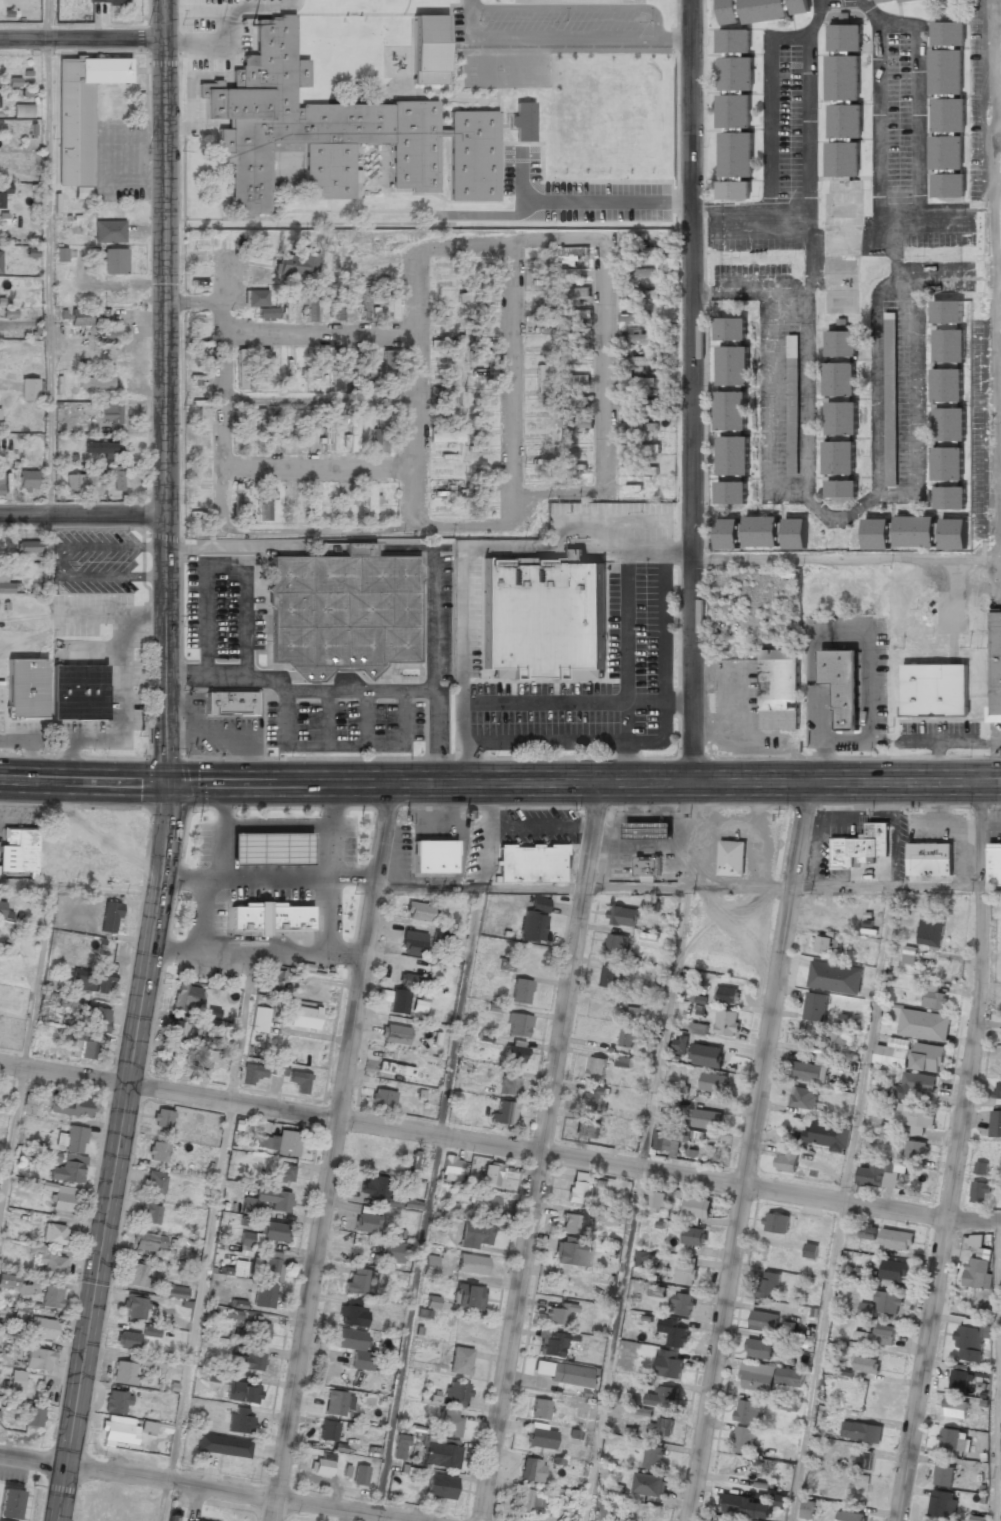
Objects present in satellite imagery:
building: (890, 1)
building: (107, 2)
building: (798, 7)
building: (751, 11)
road: (46, 20)
road: (81, 40)
building: (734, 41)
building: (428, 50)
building: (735, 73)
building: (843, 100)
building: (23, 110)
building: (947, 110)
building: (734, 111)
building: (80, 112)
building: (335, 132)
building: (735, 154)
building: (554, 169)
building: (734, 189)
building: (0, 200)
building: (109, 231)
building: (569, 253)
building: (61, 254)
building: (0, 261)
building: (115, 261)
building: (297, 264)
building: (637, 273)
road: (48, 278)
building: (580, 295)
building: (638, 295)
building: (476, 297)
building: (286, 302)
building: (260, 304)
building: (364, 305)
building: (310, 306)
building: (390, 307)
building: (336, 309)
building: (946, 313)
building: (574, 314)
building: (637, 317)
building: (80, 318)
building: (730, 328)
building: (537, 331)
building: (110, 332)
building: (636, 338)
building: (572, 340)
building: (840, 344)
building: (949, 346)
building: (485, 355)
building: (565, 359)
building: (641, 361)
building: (337, 363)
building: (264, 364)
building: (733, 365)
building: (241, 369)
building: (366, 370)
building: (387, 370)
building: (313, 377)
building: (839, 379)
building: (446, 380)
building: (574, 380)
building: (94, 382)
building: (636, 383)
building: (539, 384)
building: (335, 385)
building: (947, 385)
building: (28, 390)
road: (163, 391)
road: (691, 391)
building: (477, 393)
building: (447, 398)
building: (890, 399)
building: (571, 402)
building: (636, 403)
building: (477, 411)
building: (731, 411)
building: (110, 413)
building: (792, 417)
building: (540, 418)
building: (841, 418)
building: (950, 424)
building: (574, 425)
building: (639, 427)
building: (250, 432)
building: (380, 433)
building: (274, 434)
building: (444, 435)
building: (300, 436)
building: (326, 438)
building: (348, 441)
building: (101, 448)
building: (639, 448)
building: (483, 450)
building: (733, 456)
building: (839, 458)
building: (947, 463)
building: (569, 468)
building: (638, 470)
building: (27, 479)
building: (115, 479)
building: (76, 484)
building: (474, 484)
building: (1, 485)
building: (841, 489)
building: (636, 491)
building: (731, 493)
building: (239, 497)
building: (949, 497)
building: (289, 501)
building: (370, 502)
building: (265, 503)
building: (316, 503)
building: (341, 504)
building: (445, 514)
road: (82, 516)
building: (760, 532)
building: (914, 532)
building: (726, 534)
building: (795, 534)
building: (876, 534)
building: (952, 534)
building: (27, 547)
building: (6, 583)
building: (344, 612)
building: (543, 618)
building: (995, 667)
building: (841, 686)
building: (24, 690)
building: (778, 690)
building: (935, 691)
building: (76, 693)
building: (230, 703)
traffic signals: (165, 783)
road: (500, 784)
building: (648, 830)
building: (860, 846)
building: (270, 849)
gas station: (270, 849)
building: (18, 851)
building: (433, 856)
building: (732, 858)
building: (929, 859)
building: (531, 863)
building: (994, 864)
building: (647, 866)
road: (78, 884)
road: (677, 888)
building: (651, 904)
building: (418, 911)
building: (4, 912)
building: (110, 916)
building: (623, 916)
building: (269, 917)
building: (534, 920)
building: (931, 931)
building: (444, 932)
building: (616, 942)
building: (413, 943)
building: (823, 944)
road: (256, 953)
building: (909, 954)
building: (505, 964)
road: (39, 975)
building: (610, 976)
building: (270, 977)
building: (835, 977)
building: (90, 980)
building: (411, 981)
building: (520, 991)
building: (727, 994)
building: (933, 995)
building: (185, 997)
building: (394, 1000)
building: (73, 1002)
building: (419, 1005)
building: (816, 1006)
building: (637, 1011)
building: (304, 1017)
building: (97, 1018)
building: (259, 1019)
building: (727, 1022)
building: (518, 1024)
building: (924, 1024)
building: (217, 1027)
building: (698, 1028)
building: (842, 1029)
building: (177, 1030)
building: (394, 1034)
building: (627, 1036)
building: (81, 1045)
building: (680, 1045)
building: (515, 1051)
building: (893, 1052)
building: (706, 1055)
building: (928, 1057)
building: (203, 1058)
building: (174, 1064)
building: (395, 1068)
building: (596, 1068)
building: (810, 1069)
building: (261, 1071)
building: (299, 1081)
building: (713, 1082)
building: (919, 1082)
building: (509, 1086)
building: (997, 1091)
building: (803, 1097)
building: (593, 1098)
building: (383, 1099)
building: (72, 1107)
building: (503, 1113)
building: (915, 1117)
building: (162, 1118)
building: (706, 1119)
building: (996, 1123)
building: (587, 1128)
building: (829, 1135)
road: (11, 1137)
building: (72, 1139)
building: (280, 1142)
building: (667, 1142)
road: (499, 1146)
building: (916, 1149)
road: (747, 1150)
building: (157, 1151)
road: (538, 1151)
road: (331, 1152)
road: (954, 1152)
road: (120, 1153)
building: (52, 1157)
building: (786, 1159)
building: (416, 1160)
building: (981, 1167)
building: (69, 1169)
building: (450, 1169)
building: (284, 1172)
building: (491, 1174)
building: (878, 1174)
building: (155, 1182)
building: (581, 1187)
building: (979, 1191)
building: (656, 1199)
building: (266, 1201)
building: (62, 1202)
road: (635, 1203)
road: (427, 1204)
building: (485, 1204)
road: (843, 1205)
building: (697, 1207)
building: (150, 1212)
building: (613, 1219)
building: (365, 1221)
building: (777, 1222)
building: (577, 1224)
building: (868, 1231)
building: (55, 1234)
building: (264, 1234)
building: (474, 1235)
road: (207, 1236)
building: (694, 1236)
building: (896, 1239)
building: (149, 1241)
building: (810, 1250)
building: (393, 1252)
building: (572, 1252)
building: (645, 1258)
building: (48, 1260)
building: (471, 1264)
building: (430, 1265)
building: (237, 1268)
building: (272, 1269)
building: (686, 1270)
building: (894, 1270)
building: (977, 1273)
building: (136, 1275)
building: (360, 1281)
building: (8, 1282)
building: (768, 1284)
building: (172, 1291)
building: (657, 1291)
building: (264, 1295)
building: (52, 1296)
building: (468, 1296)
building: (432, 1301)
building: (888, 1302)
building: (683, 1303)
building: (135, 1306)
building: (865, 1309)
building: (352, 1313)
building: (560, 1313)
building: (763, 1320)
building: (42, 1328)
building: (150, 1331)
building: (675, 1333)
building: (884, 1334)
building: (863, 1336)
building: (127, 1340)
building: (971, 1340)
building: (551, 1343)
building: (249, 1346)
building: (760, 1347)
building: (354, 1348)
building: (39, 1359)
building: (460, 1360)
building: (150, 1362)
building: (668, 1364)
building: (866, 1364)
road: (998, 1369)
building: (124, 1372)
building: (565, 1374)
building: (757, 1376)
building: (789, 1376)
building: (17, 1379)
building: (241, 1390)
building: (456, 1394)
building: (957, 1394)
building: (663, 1397)
building: (117, 1402)
building: (337, 1403)
building: (783, 1405)
building: (540, 1409)
building: (750, 1411)
building: (33, 1417)
building: (240, 1422)
building: (448, 1423)
building: (661, 1426)
building: (125, 1429)
building: (327, 1430)
building: (861, 1431)
building: (574, 1434)
building: (540, 1436)
building: (744, 1439)
building: (954, 1439)
building: (223, 1445)
building: (400, 1446)
building: (441, 1452)
building: (653, 1456)
building: (863, 1459)
building: (322, 1465)
building: (531, 1470)
building: (360, 1475)
building: (944, 1475)
building: (649, 1484)
building: (440, 1486)
road: (156, 1494)
building: (764, 1497)
building: (780, 1500)
building: (943, 1503)
building: (9, 1504)
building: (745, 1505)
building: (808, 1509)
building: (602, 1511)
building: (850, 1516)
building: (728, 1520)

